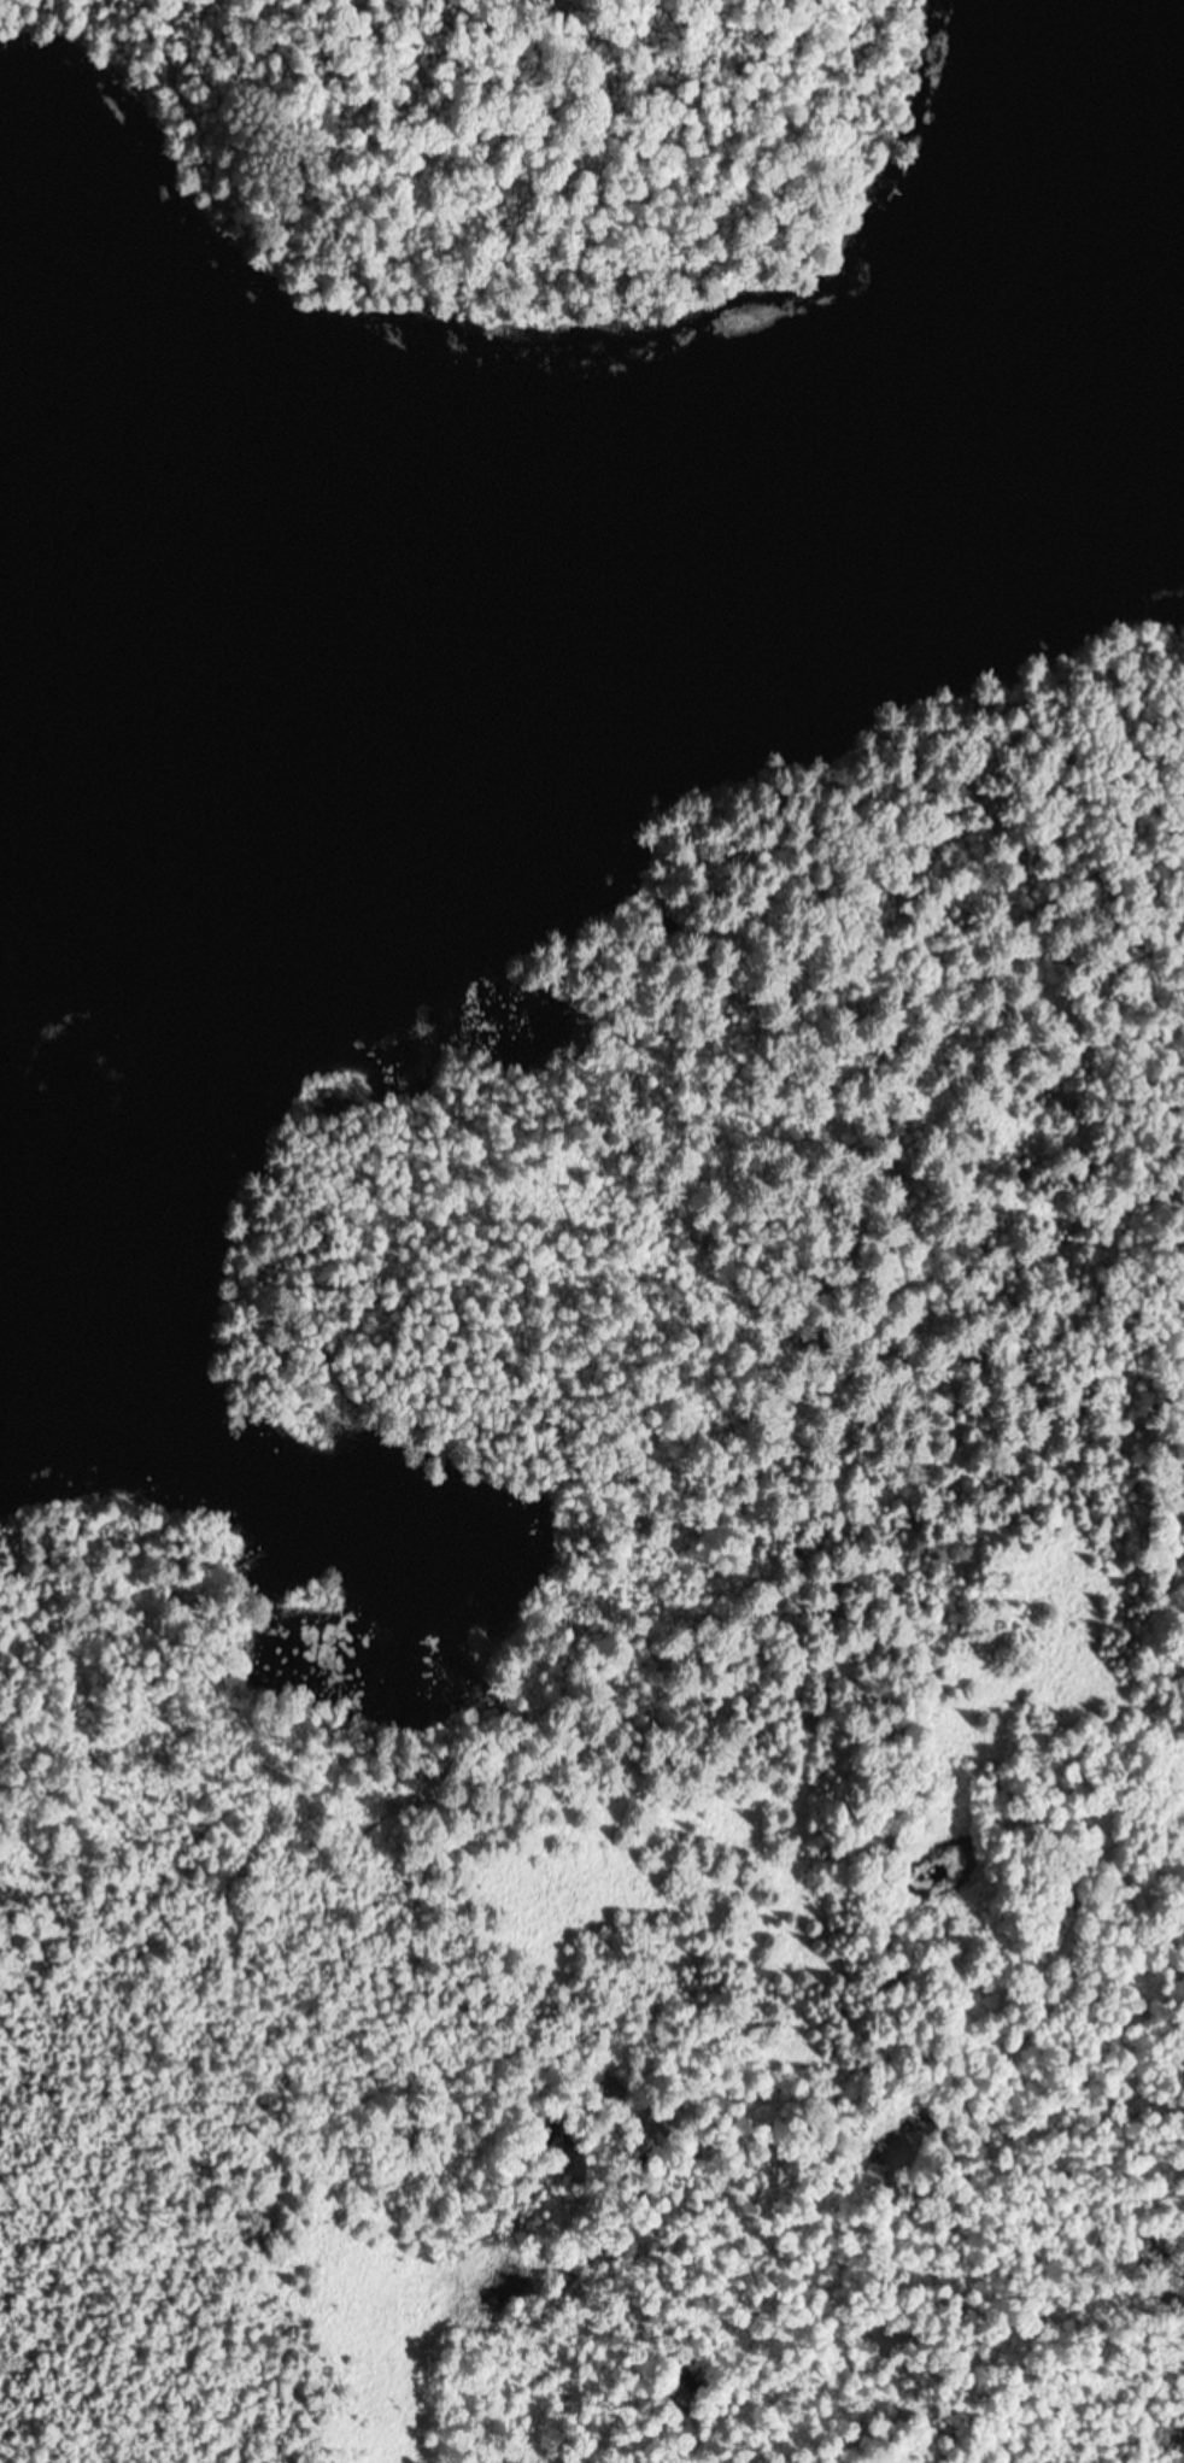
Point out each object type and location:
river: (518, 631)

